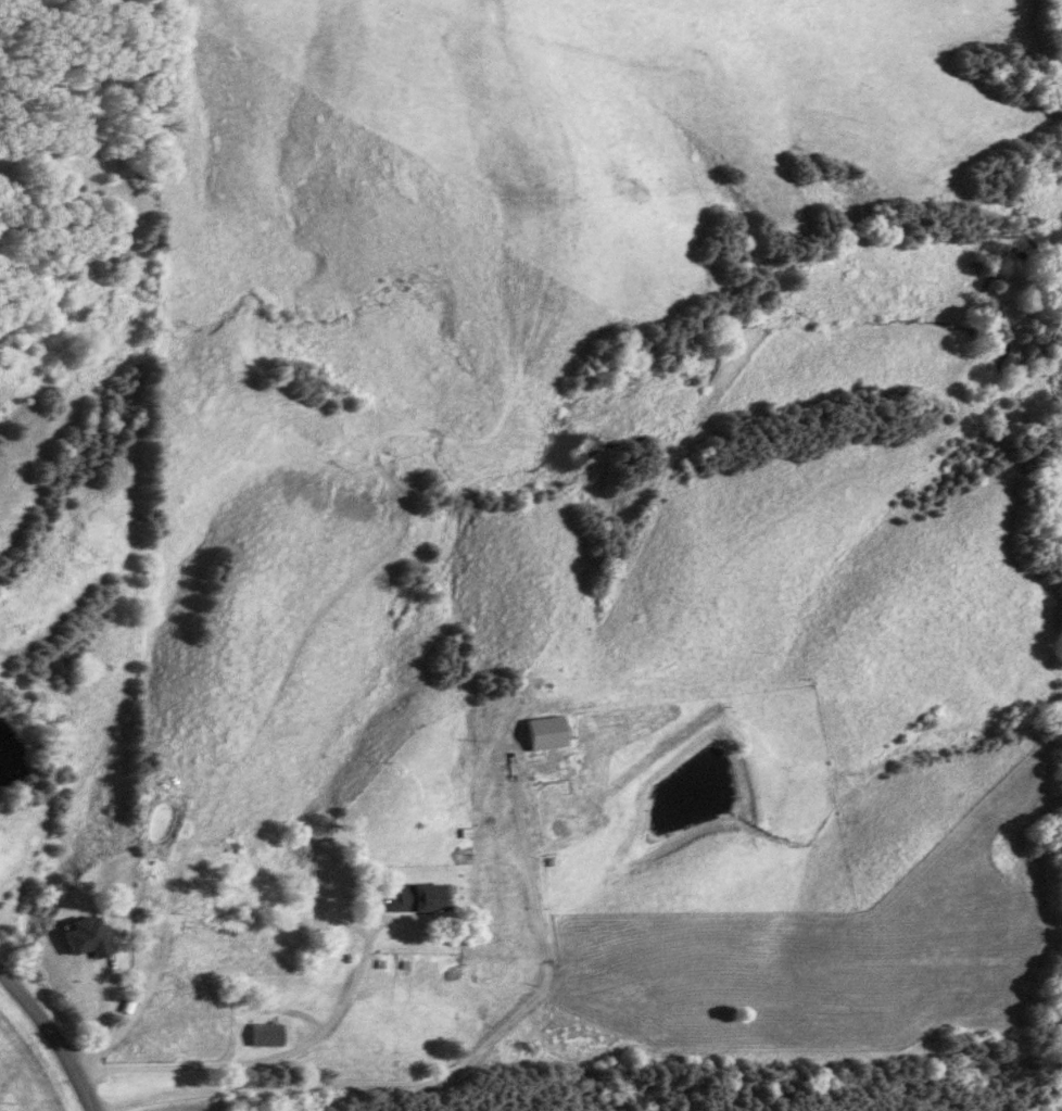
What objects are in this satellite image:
building: (539, 734)
building: (412, 898)
building: (258, 1036)
road: (51, 1038)
road: (280, 1063)
road: (445, 1076)

